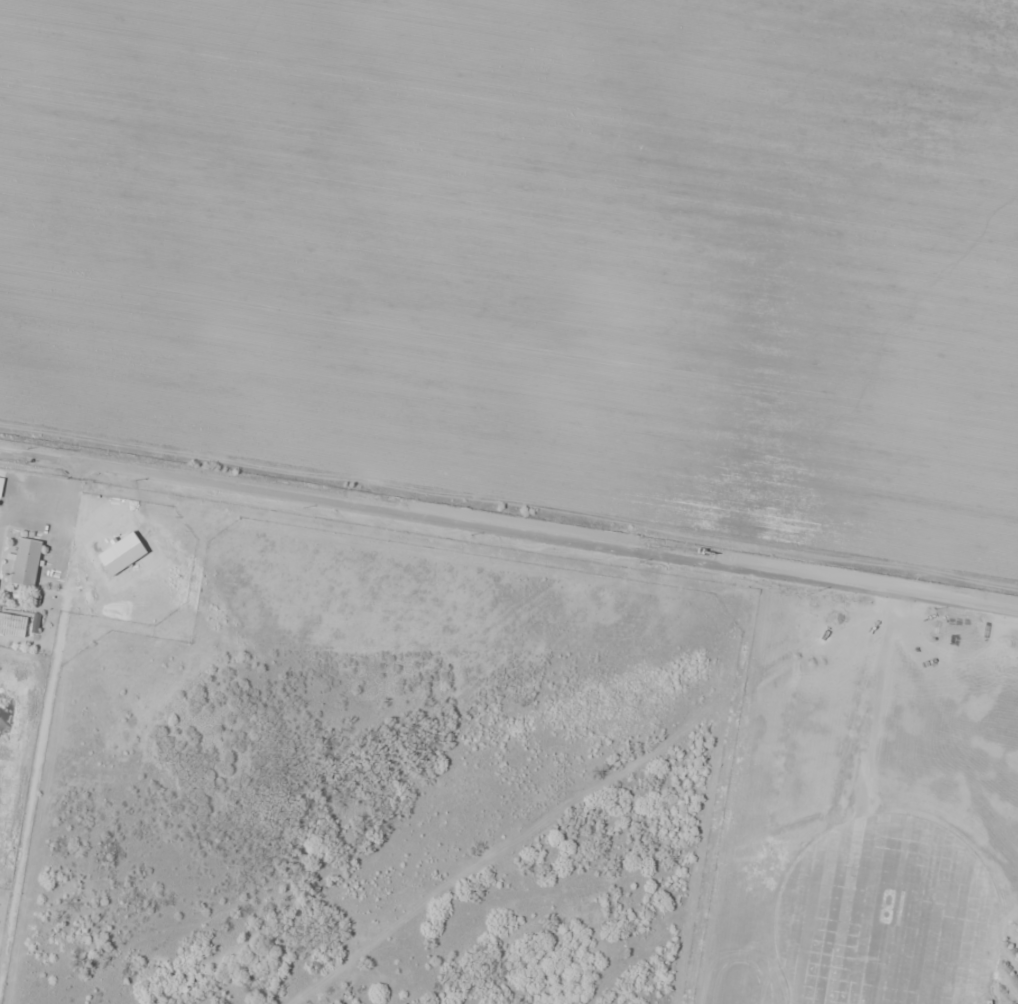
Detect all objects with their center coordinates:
building: (1, 485)
road: (509, 530)
building: (26, 562)
building: (13, 625)
airport: (481, 757)
airport runway: (888, 958)
airport taxiway: (927, 958)

